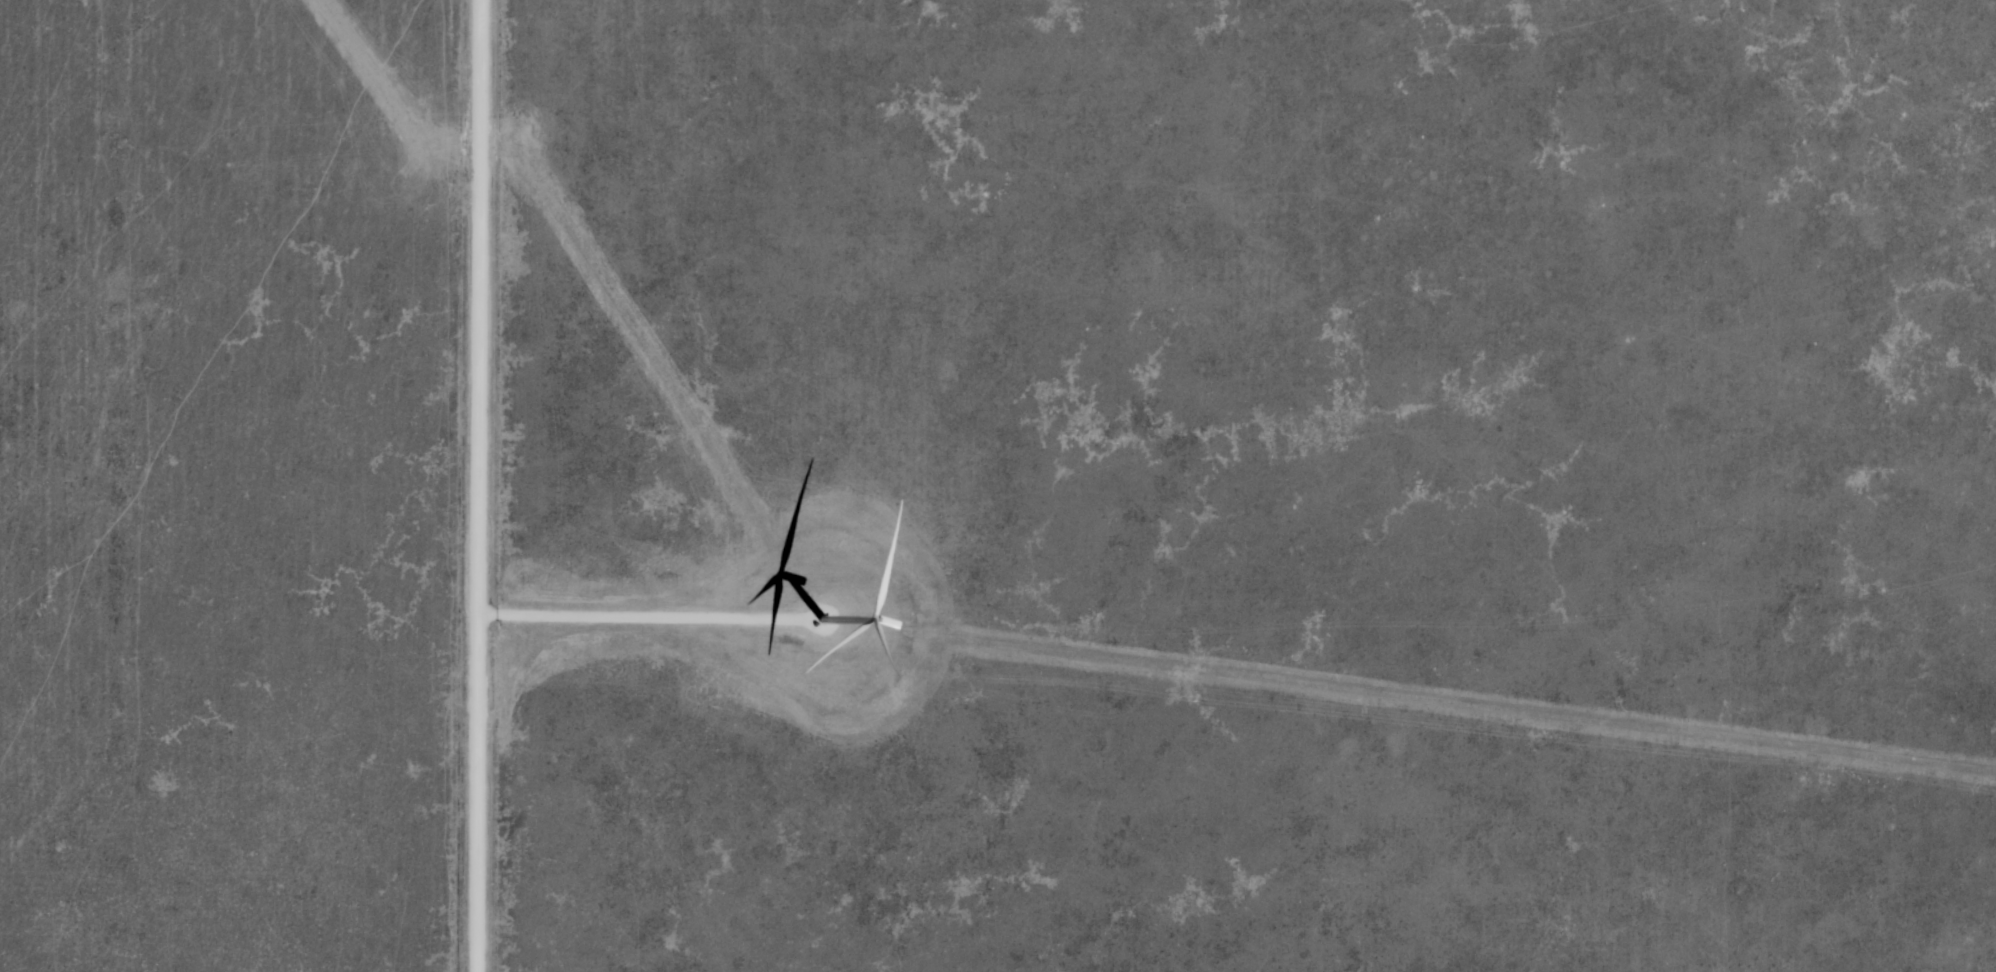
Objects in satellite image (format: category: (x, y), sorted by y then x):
road: (478, 485)
road: (636, 620)
wind turbine: (821, 623)

